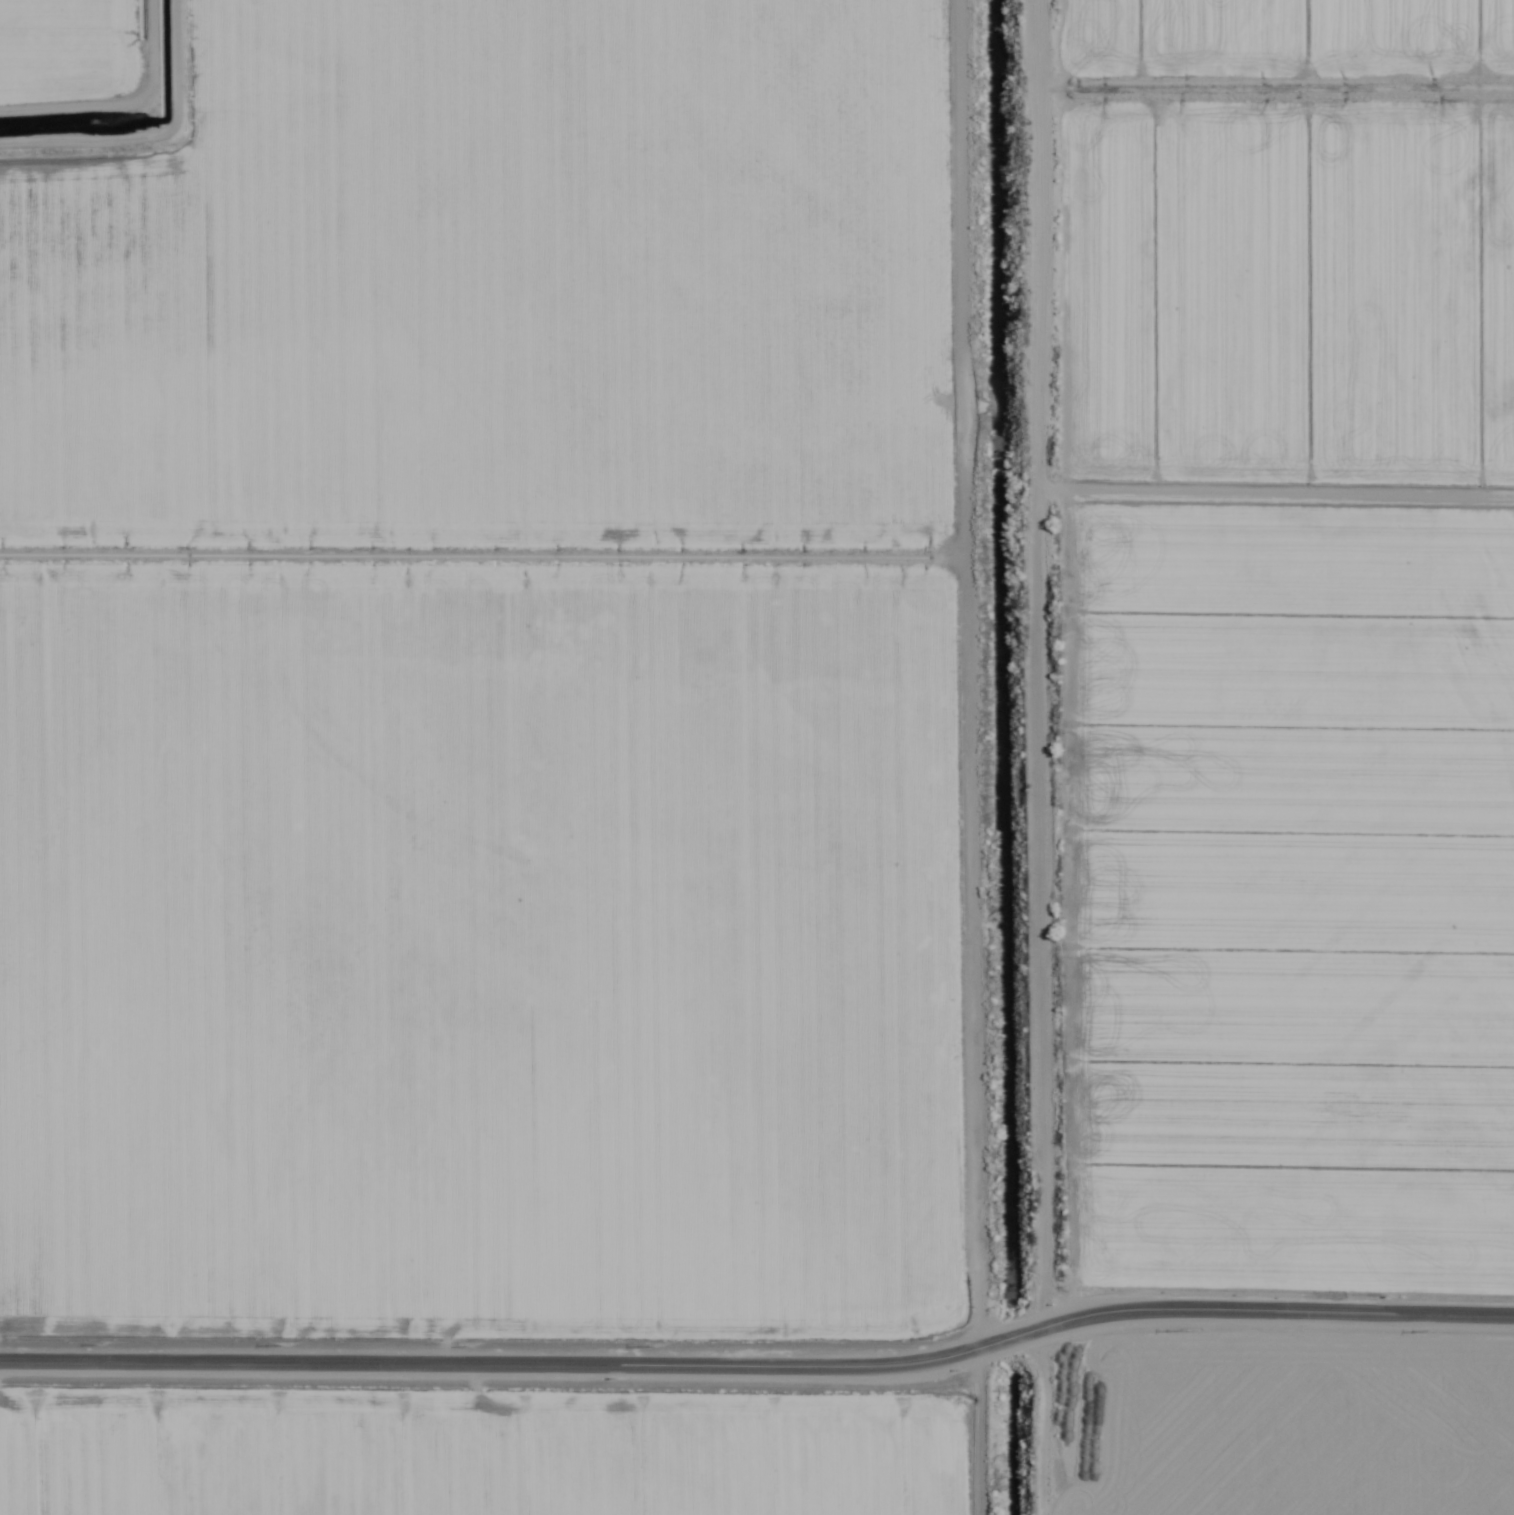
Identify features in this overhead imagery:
crop: (757, 757)
road: (760, 1363)

